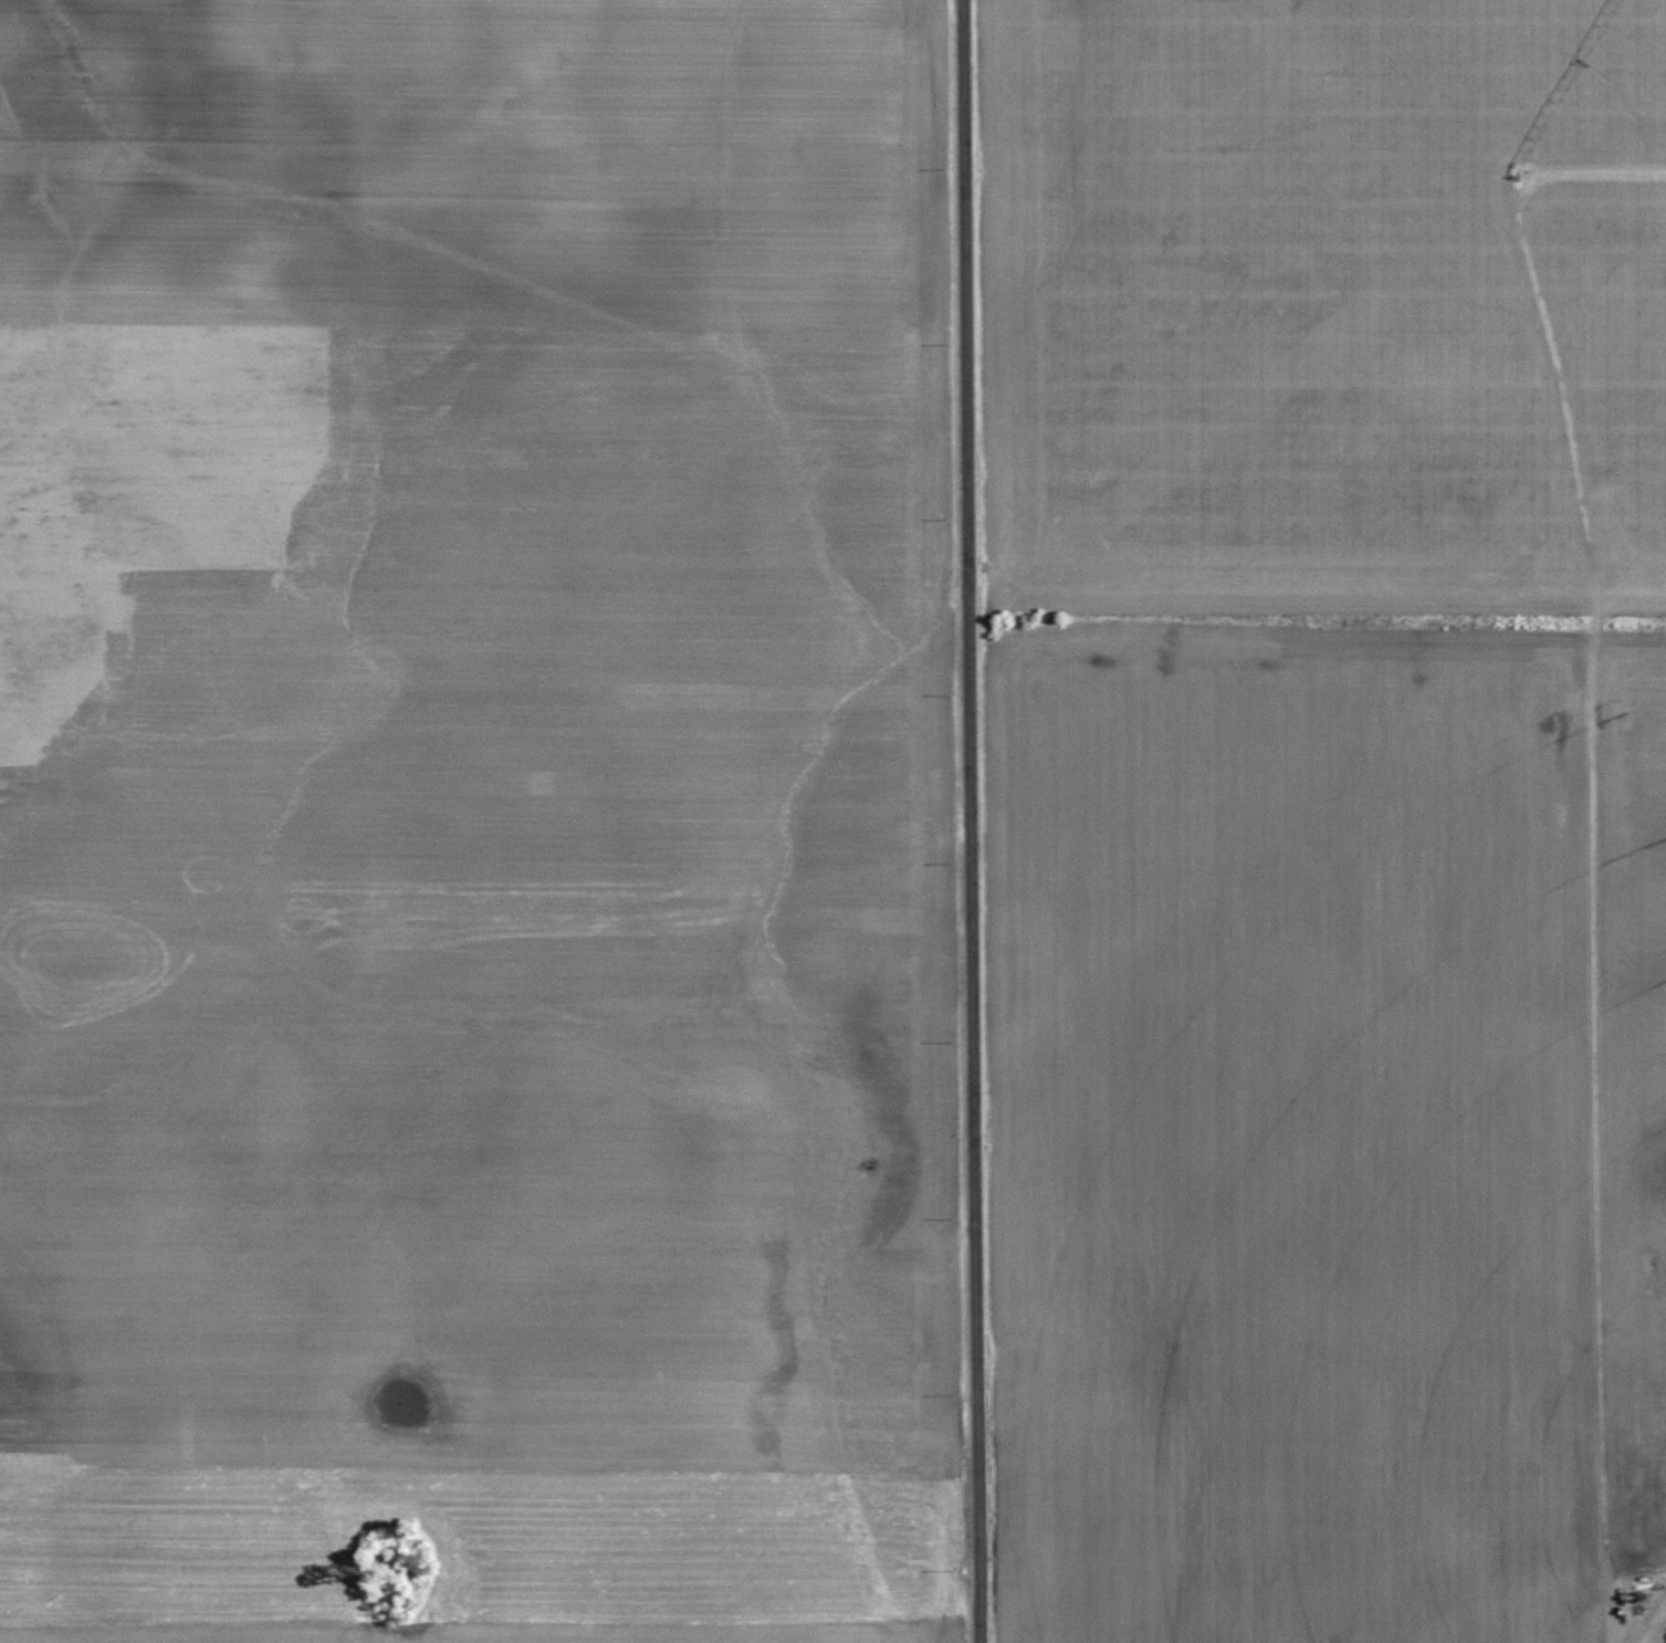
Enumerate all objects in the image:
crop: (1333, 303)
crop: (469, 728)
road: (972, 821)
crop: (1333, 1120)
crop: (535, 1635)

